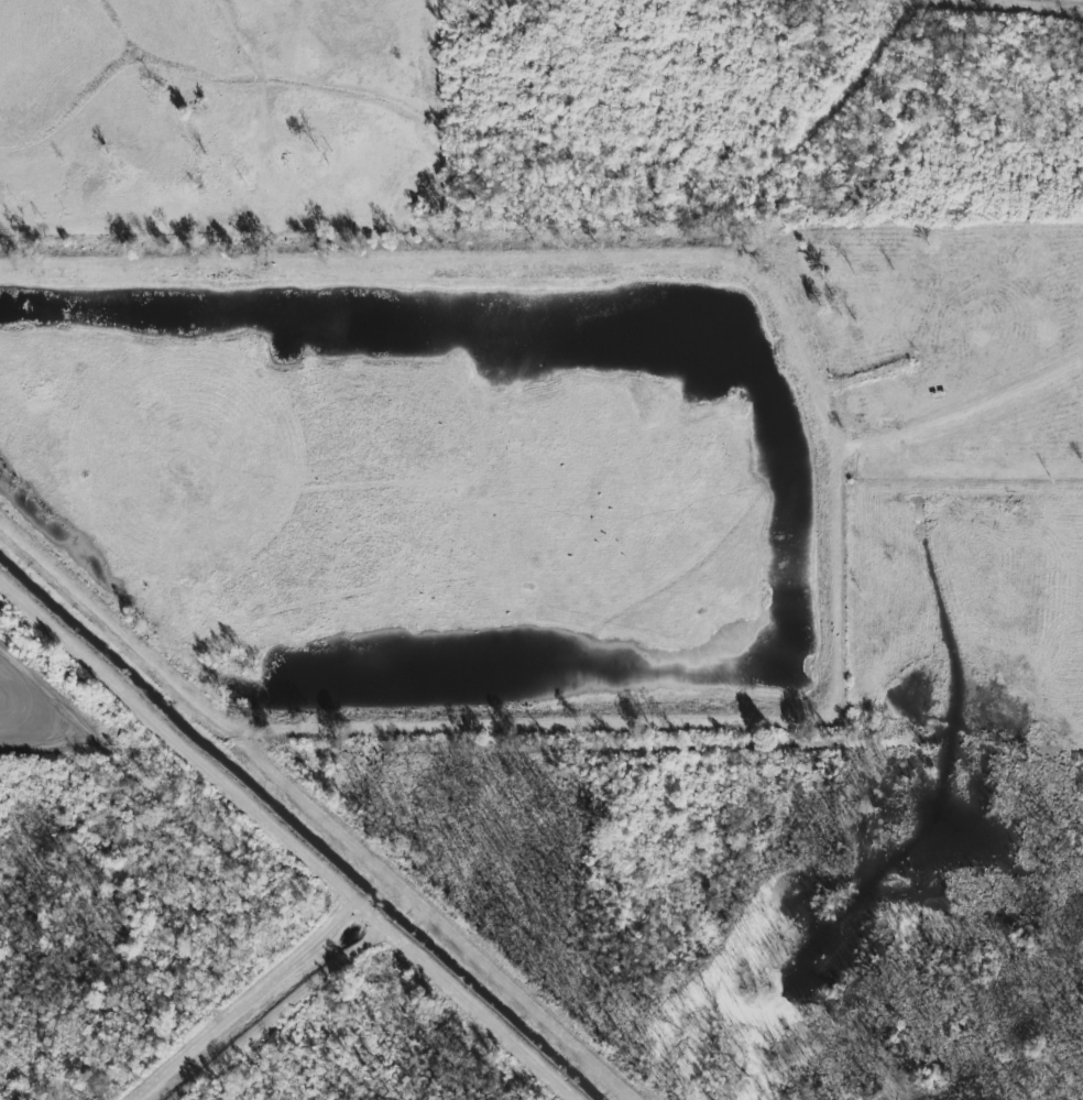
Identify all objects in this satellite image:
road: (319, 810)
road: (287, 839)

